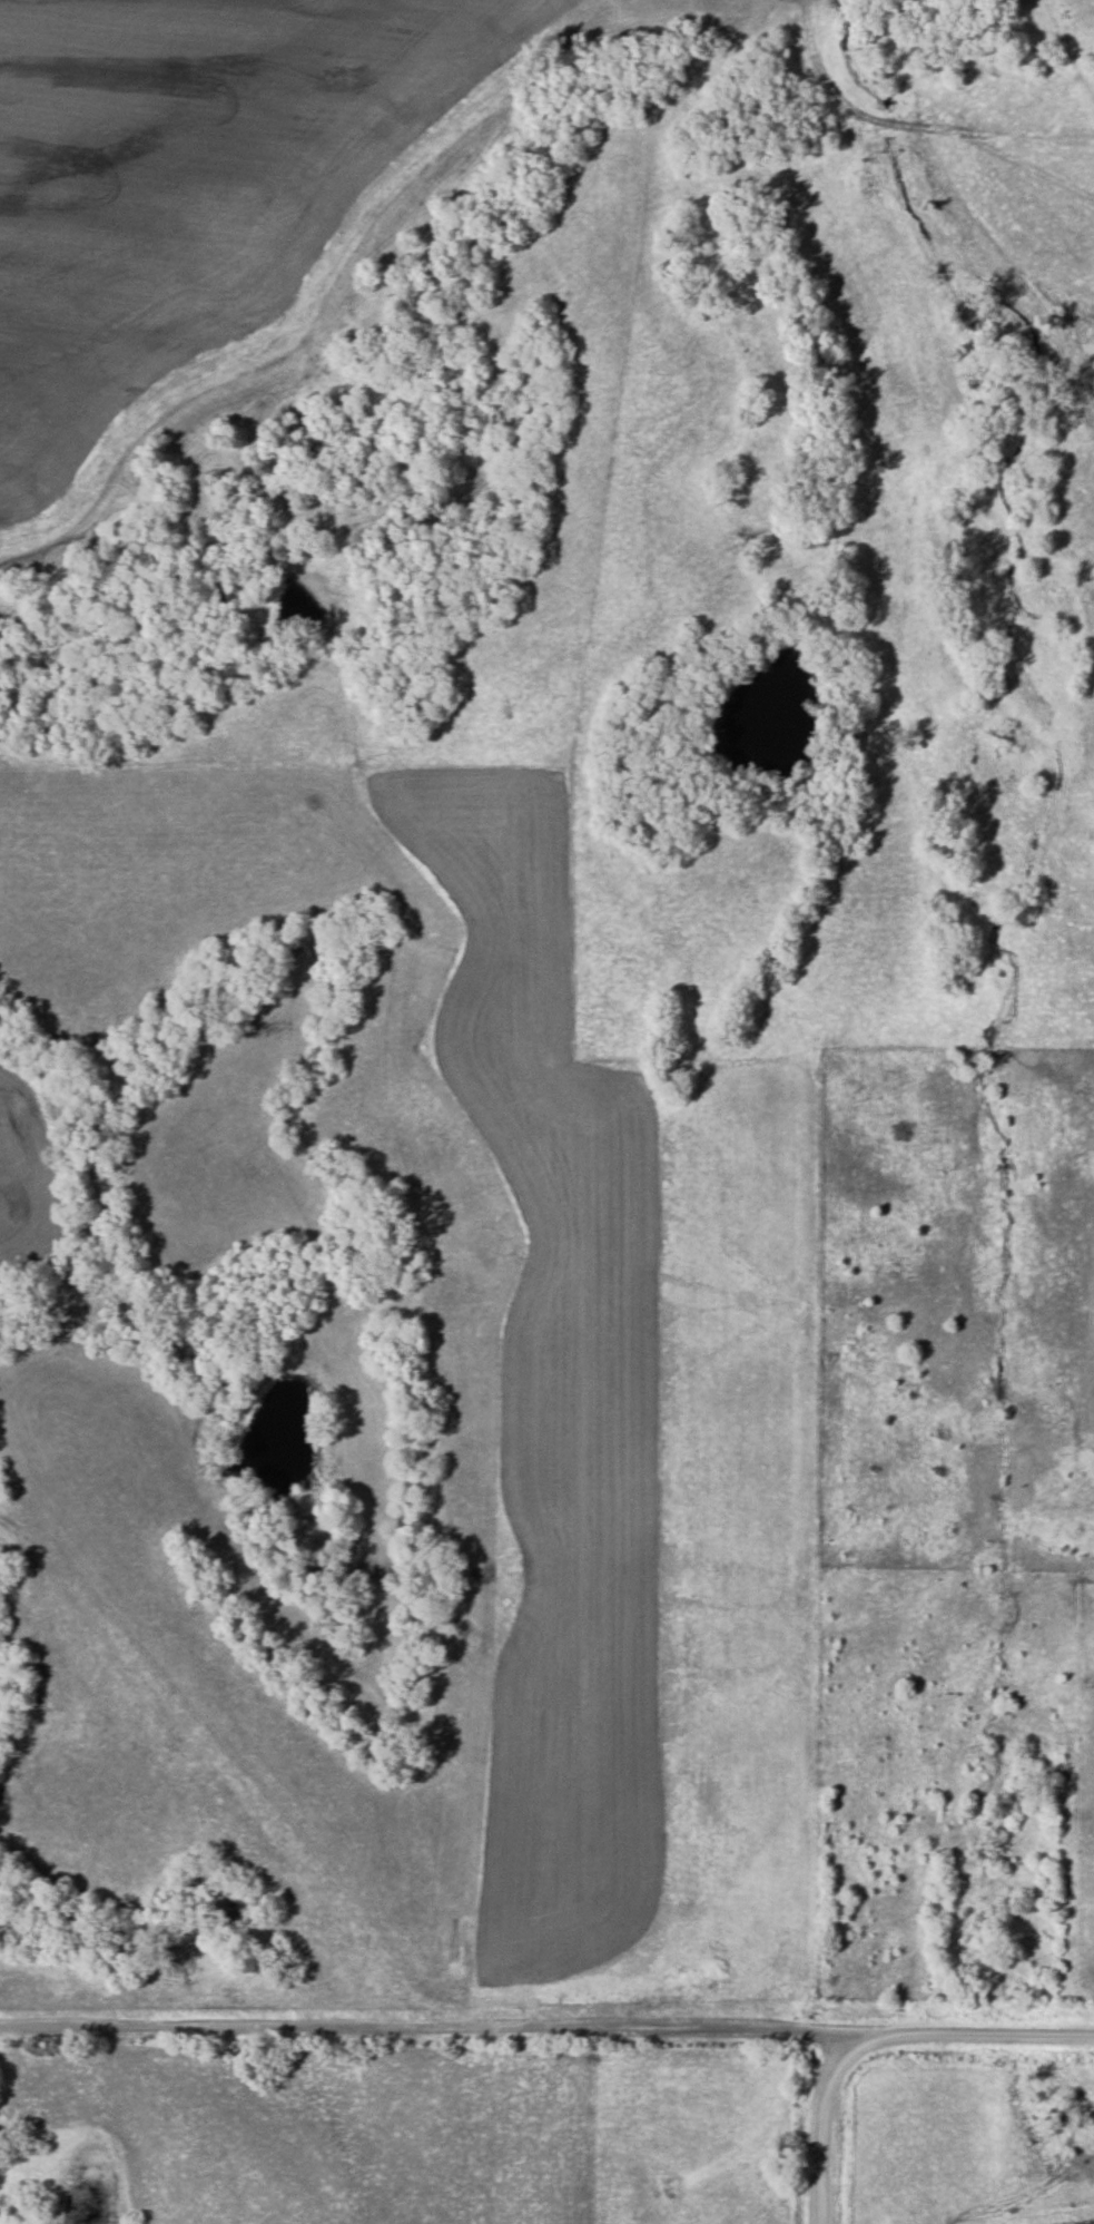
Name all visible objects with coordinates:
road: (548, 2030)
road: (820, 2123)

